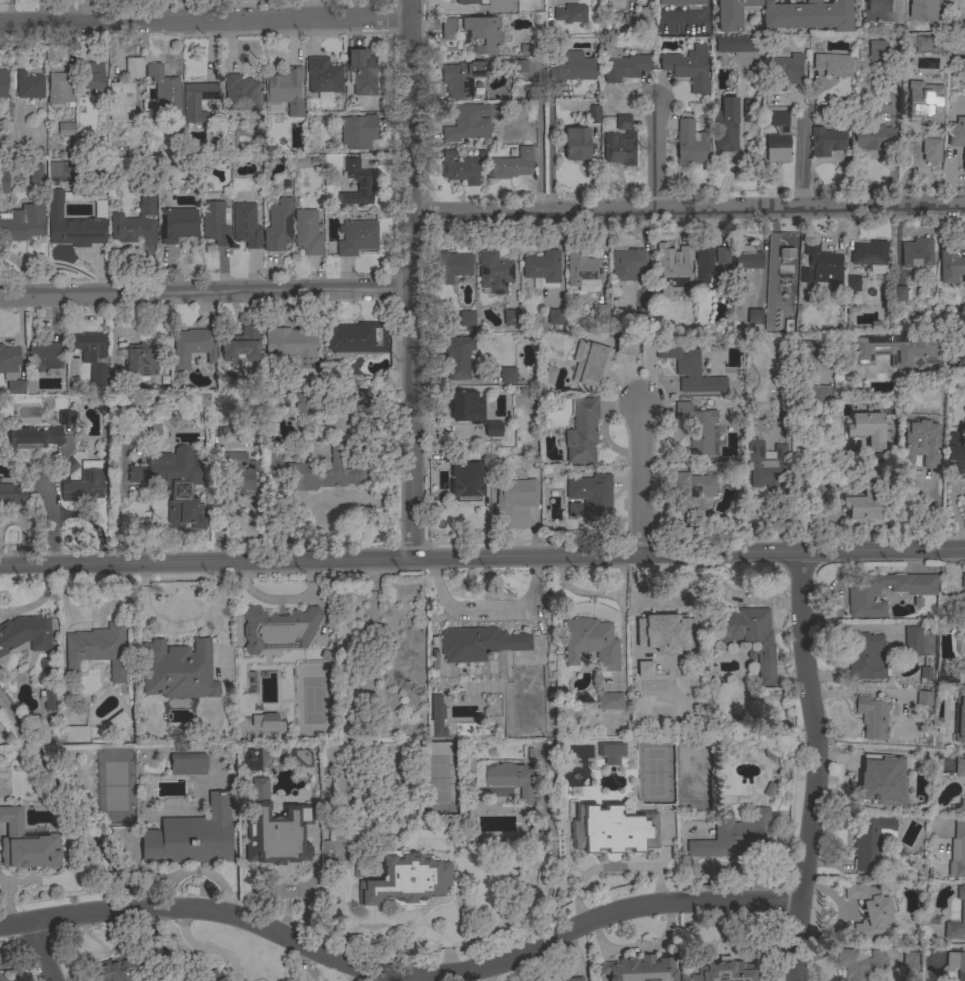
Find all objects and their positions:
building: (498, 0)
building: (807, 1)
building: (470, 2)
building: (680, 2)
building: (616, 4)
road: (706, 8)
road: (898, 9)
building: (925, 10)
building: (878, 12)
building: (571, 13)
building: (785, 15)
building: (638, 17)
road: (205, 22)
building: (684, 22)
building: (474, 32)
building: (738, 43)
building: (528, 48)
building: (876, 50)
building: (834, 65)
building: (623, 66)
building: (134, 67)
building: (519, 67)
building: (573, 67)
building: (689, 67)
building: (154, 69)
building: (785, 70)
building: (362, 72)
building: (91, 75)
building: (324, 75)
building: (462, 77)
building: (3, 83)
building: (29, 85)
building: (282, 86)
building: (60, 89)
building: (241, 93)
building: (197, 100)
building: (168, 101)
building: (120, 102)
building: (925, 102)
building: (749, 110)
building: (594, 115)
building: (623, 122)
building: (468, 123)
building: (725, 125)
building: (66, 129)
building: (358, 131)
building: (872, 136)
building: (958, 136)
building: (778, 139)
building: (826, 141)
building: (576, 144)
building: (690, 144)
building: (619, 148)
building: (931, 149)
road: (550, 155)
road: (538, 156)
road: (658, 157)
road: (802, 161)
building: (512, 165)
building: (460, 168)
building: (35, 173)
building: (3, 179)
building: (357, 183)
building: (100, 208)
road: (688, 210)
building: (23, 223)
building: (215, 223)
building: (135, 224)
building: (178, 224)
building: (71, 225)
building: (245, 225)
building: (278, 225)
building: (307, 232)
building: (356, 237)
building: (916, 252)
building: (685, 253)
building: (786, 253)
building: (869, 253)
building: (746, 258)
building: (720, 261)
building: (704, 263)
building: (628, 264)
building: (665, 264)
building: (951, 265)
building: (450, 267)
building: (582, 267)
building: (820, 267)
building: (542, 268)
building: (494, 272)
road: (413, 278)
building: (851, 283)
road: (206, 293)
building: (897, 293)
building: (802, 294)
building: (600, 312)
building: (644, 316)
building: (511, 317)
building: (553, 317)
building: (752, 317)
building: (466, 318)
building: (357, 337)
building: (242, 345)
building: (291, 345)
building: (625, 345)
building: (193, 346)
building: (900, 350)
building: (47, 356)
building: (92, 356)
building: (458, 357)
building: (141, 360)
building: (808, 360)
building: (590, 364)
building: (11, 369)
building: (690, 370)
building: (507, 375)
building: (547, 376)
building: (116, 380)
building: (29, 385)
building: (838, 392)
building: (819, 396)
building: (201, 401)
building: (356, 401)
building: (269, 404)
building: (309, 404)
building: (467, 407)
building: (785, 413)
building: (934, 416)
building: (67, 418)
building: (696, 427)
building: (867, 428)
building: (152, 429)
building: (493, 429)
building: (582, 431)
building: (35, 438)
building: (920, 444)
road: (813, 449)
building: (954, 452)
building: (274, 463)
building: (69, 465)
building: (766, 465)
building: (325, 471)
building: (240, 474)
building: (870, 474)
road: (639, 481)
building: (466, 482)
building: (174, 483)
building: (84, 486)
building: (12, 491)
building: (692, 493)
building: (513, 495)
building: (592, 495)
building: (863, 503)
building: (572, 508)
road: (49, 514)
road: (91, 522)
road: (482, 556)
building: (963, 580)
building: (863, 596)
road: (741, 598)
road: (37, 600)
road: (487, 609)
building: (279, 628)
building: (668, 631)
building: (25, 633)
building: (750, 637)
building: (914, 639)
building: (479, 643)
building: (591, 643)
building: (98, 649)
building: (865, 656)
building: (644, 661)
building: (177, 669)
building: (642, 670)
building: (925, 672)
building: (947, 676)
building: (50, 698)
building: (923, 698)
building: (609, 700)
building: (964, 700)
building: (437, 716)
building: (872, 716)
building: (264, 720)
building: (116, 723)
building: (74, 734)
building: (962, 736)
building: (938, 737)
building: (771, 752)
building: (609, 754)
building: (574, 755)
building: (918, 757)
building: (299, 759)
building: (188, 763)
building: (468, 763)
building: (935, 764)
road: (813, 766)
building: (960, 767)
building: (627, 770)
building: (507, 780)
building: (874, 781)
building: (769, 789)
building: (258, 790)
building: (962, 805)
building: (616, 835)
building: (192, 836)
building: (736, 836)
building: (275, 837)
building: (870, 841)
building: (26, 844)
building: (360, 849)
building: (326, 851)
building: (957, 851)
building: (361, 870)
building: (406, 879)
building: (869, 910)
building: (962, 910)
road: (395, 917)
road: (46, 951)
building: (910, 961)
building: (860, 964)
building: (956, 964)
building: (639, 969)
building: (122, 970)
road: (399, 971)
building: (724, 971)
building: (210, 976)
building: (3, 978)
building: (574, 979)

